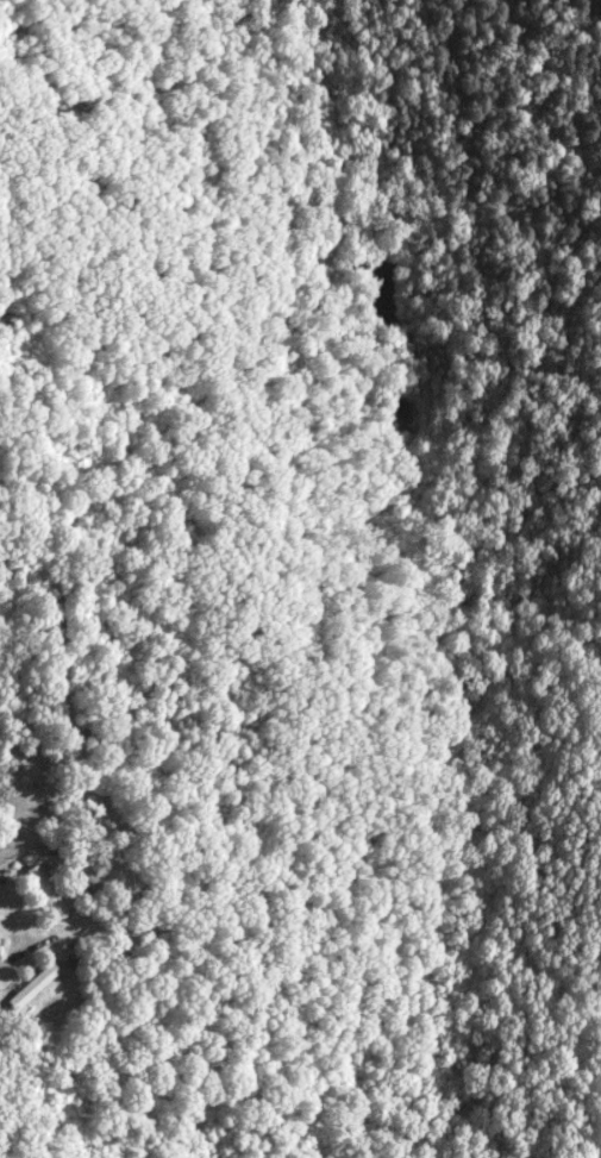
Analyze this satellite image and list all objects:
building: (42, 890)
road: (14, 950)
building: (29, 984)

